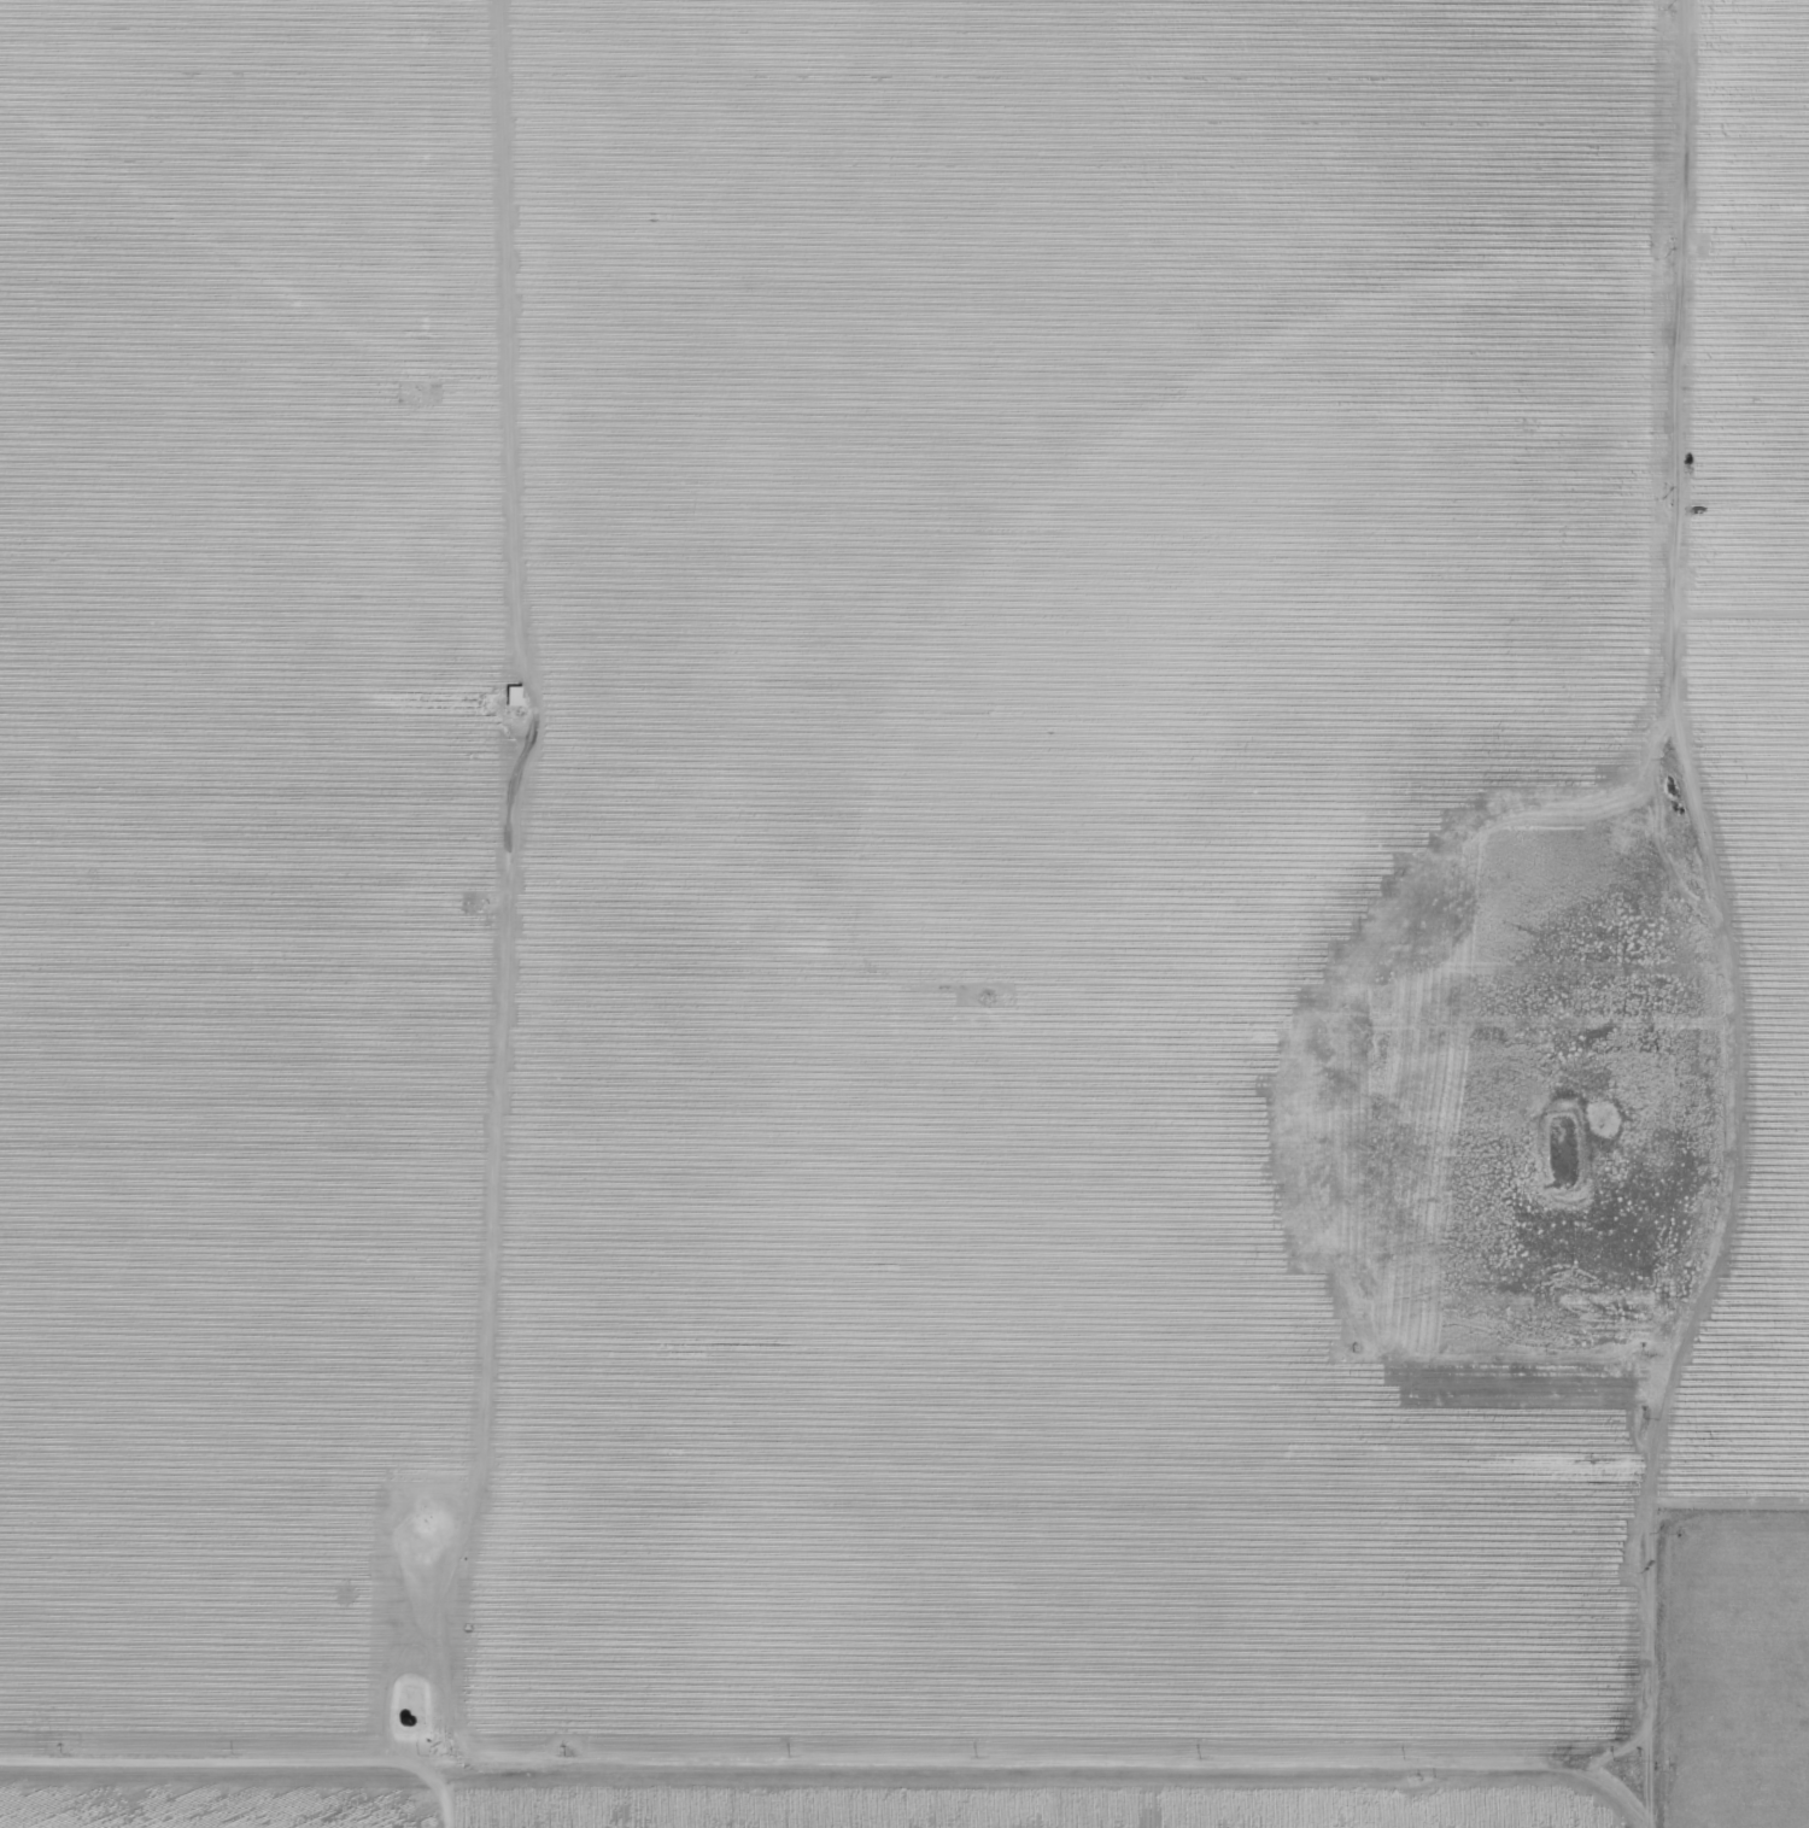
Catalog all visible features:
road: (46, 1757)
road: (868, 1769)

